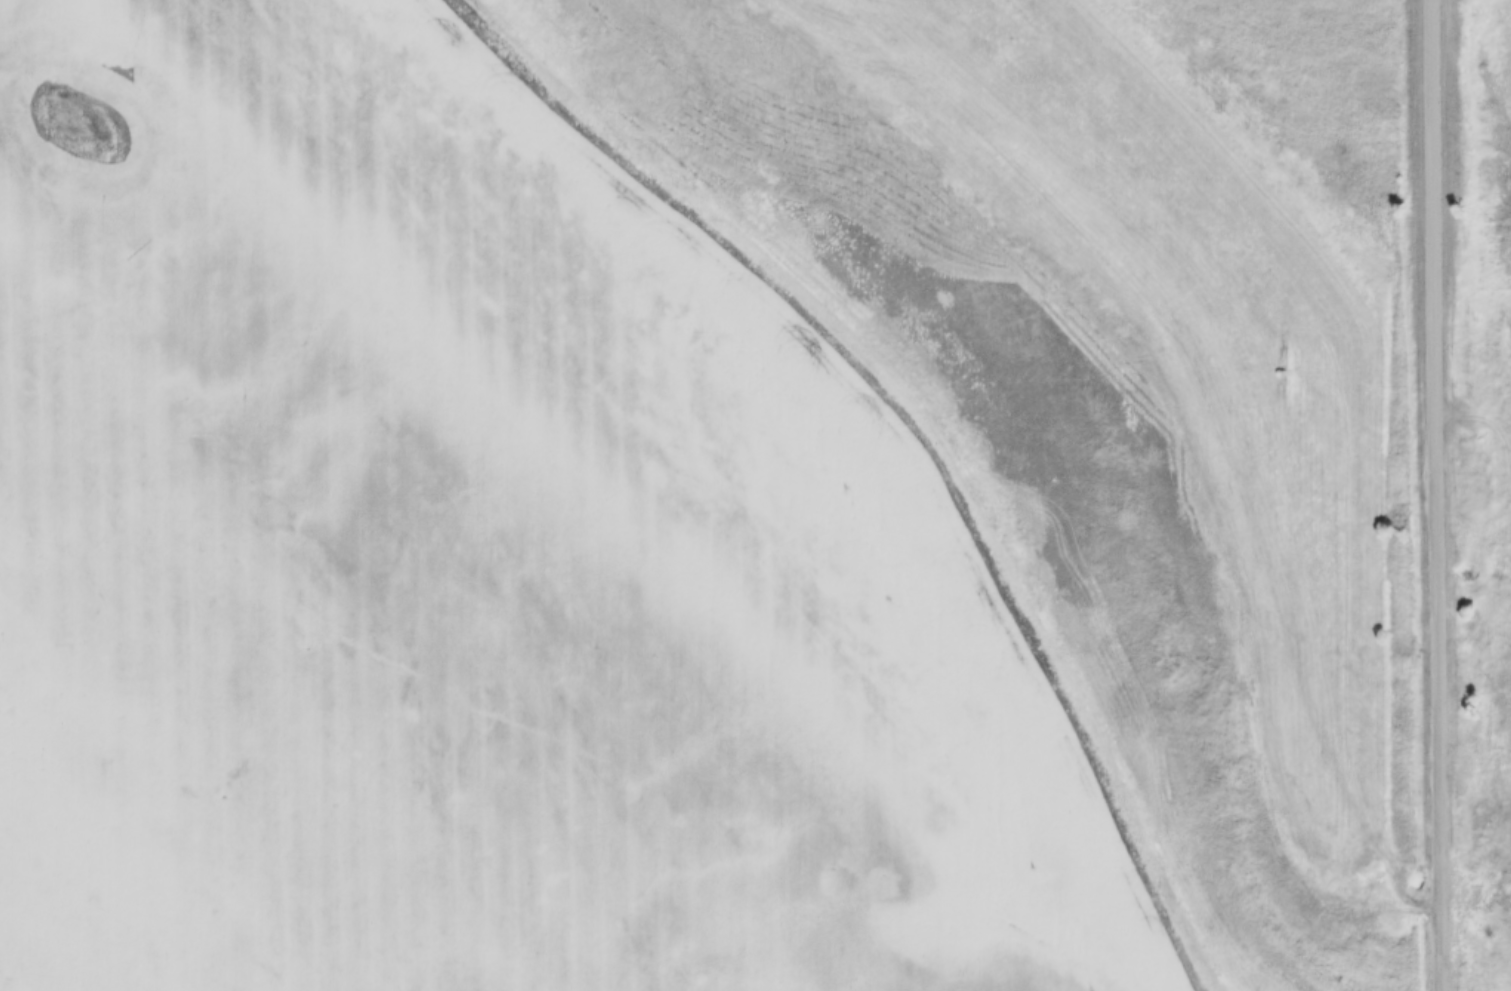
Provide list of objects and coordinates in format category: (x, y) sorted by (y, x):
road: (1431, 495)

